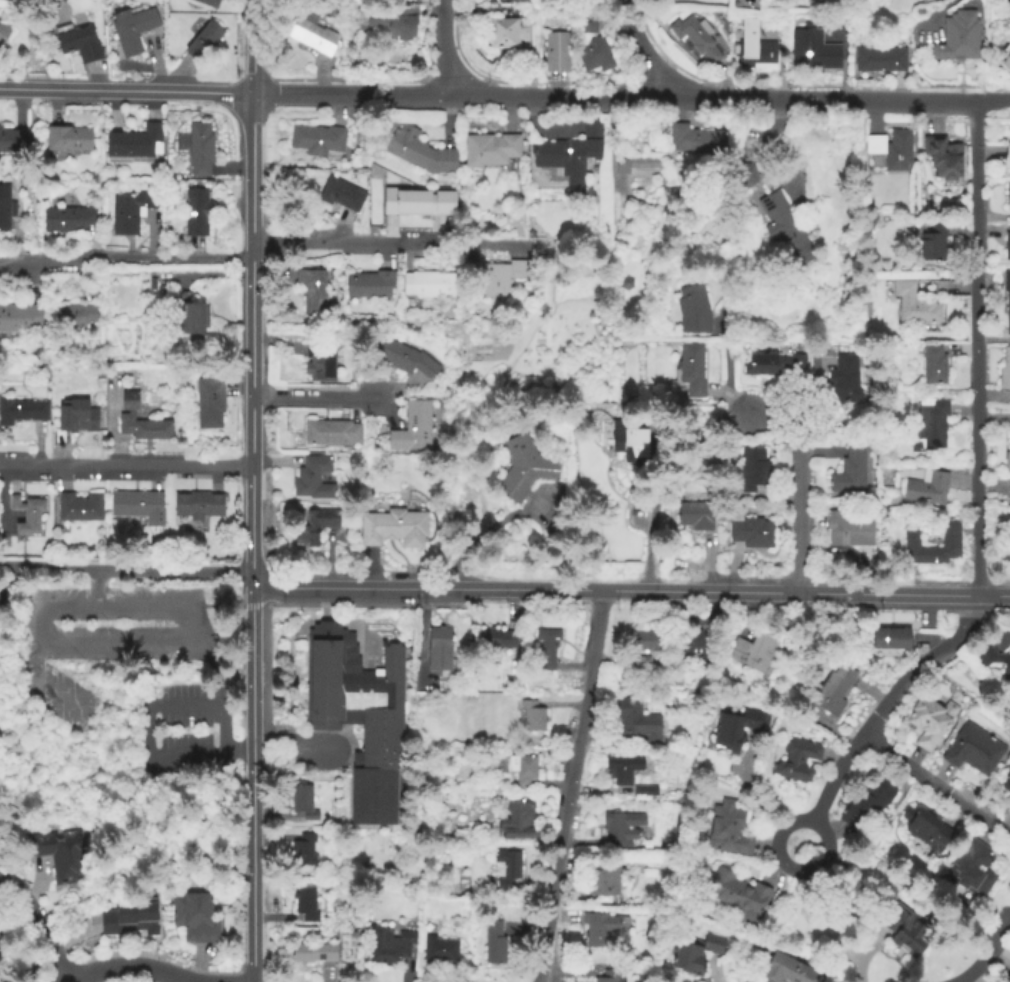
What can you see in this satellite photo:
building: (516, 0)
building: (935, 0)
building: (208, 3)
road: (932, 15)
building: (388, 20)
building: (587, 24)
building: (132, 29)
building: (4, 32)
building: (506, 33)
building: (316, 37)
building: (959, 37)
building: (697, 38)
road: (427, 39)
building: (203, 41)
building: (80, 44)
road: (250, 46)
road: (444, 48)
road: (647, 50)
building: (755, 50)
building: (556, 52)
building: (813, 52)
building: (594, 55)
building: (879, 59)
building: (1006, 61)
building: (531, 70)
road: (439, 78)
road: (350, 80)
road: (272, 86)
road: (429, 87)
road: (125, 89)
road: (349, 94)
road: (713, 96)
road: (993, 100)
building: (591, 127)
building: (67, 139)
building: (318, 140)
building: (697, 140)
building: (14, 142)
building: (136, 142)
building: (196, 149)
building: (892, 149)
building: (1009, 149)
building: (489, 150)
building: (420, 152)
building: (944, 156)
building: (567, 160)
building: (637, 163)
building: (1008, 191)
building: (341, 193)
building: (417, 201)
building: (129, 212)
building: (196, 212)
building: (11, 213)
building: (777, 217)
building: (69, 219)
road: (356, 241)
building: (933, 242)
building: (1006, 246)
road: (125, 256)
building: (500, 279)
building: (370, 284)
building: (428, 285)
building: (312, 291)
building: (1007, 295)
building: (914, 305)
building: (693, 310)
building: (74, 315)
building: (191, 316)
building: (19, 318)
road: (251, 339)
road: (977, 349)
road: (725, 351)
building: (403, 358)
building: (317, 360)
building: (933, 365)
building: (773, 366)
building: (692, 369)
building: (1004, 372)
building: (844, 381)
road: (314, 396)
road: (730, 398)
building: (209, 399)
building: (21, 411)
building: (77, 417)
building: (140, 421)
building: (691, 423)
building: (929, 426)
building: (412, 428)
building: (331, 432)
building: (635, 443)
building: (1007, 457)
road: (125, 462)
building: (524, 468)
building: (753, 471)
building: (850, 472)
building: (313, 480)
road: (799, 484)
building: (927, 489)
building: (137, 502)
building: (198, 505)
building: (79, 508)
building: (27, 514)
building: (696, 517)
building: (1009, 519)
building: (314, 528)
building: (393, 529)
road: (647, 531)
building: (849, 531)
building: (750, 533)
building: (949, 541)
road: (3, 563)
road: (51, 565)
road: (132, 569)
road: (208, 570)
road: (96, 586)
road: (360, 586)
road: (739, 590)
road: (147, 604)
building: (499, 639)
building: (645, 643)
building: (891, 644)
road: (128, 646)
building: (694, 646)
building: (439, 650)
building: (547, 650)
building: (753, 653)
building: (994, 661)
road: (918, 662)
building: (641, 663)
parking lot: (184, 689)
building: (832, 693)
building: (359, 717)
building: (532, 717)
building: (635, 720)
building: (928, 722)
building: (732, 727)
road: (146, 736)
building: (973, 749)
road: (291, 750)
building: (797, 760)
building: (622, 770)
building: (522, 771)
road: (831, 774)
building: (1007, 783)
road: (251, 784)
road: (935, 784)
road: (570, 785)
building: (639, 791)
building: (1009, 795)
building: (303, 803)
building: (867, 803)
building: (516, 821)
building: (622, 828)
building: (727, 828)
building: (927, 829)
building: (302, 851)
building: (58, 855)
road: (789, 867)
building: (507, 868)
building: (972, 869)
building: (603, 878)
building: (740, 896)
building: (304, 904)
building: (194, 918)
building: (129, 920)
road: (38, 925)
building: (599, 928)
building: (904, 930)
building: (494, 943)
building: (387, 945)
building: (2, 950)
road: (987, 951)
building: (439, 952)
building: (313, 953)
building: (694, 953)
road: (858, 956)
road: (129, 968)
building: (787, 970)
building: (1008, 974)
building: (609, 976)

